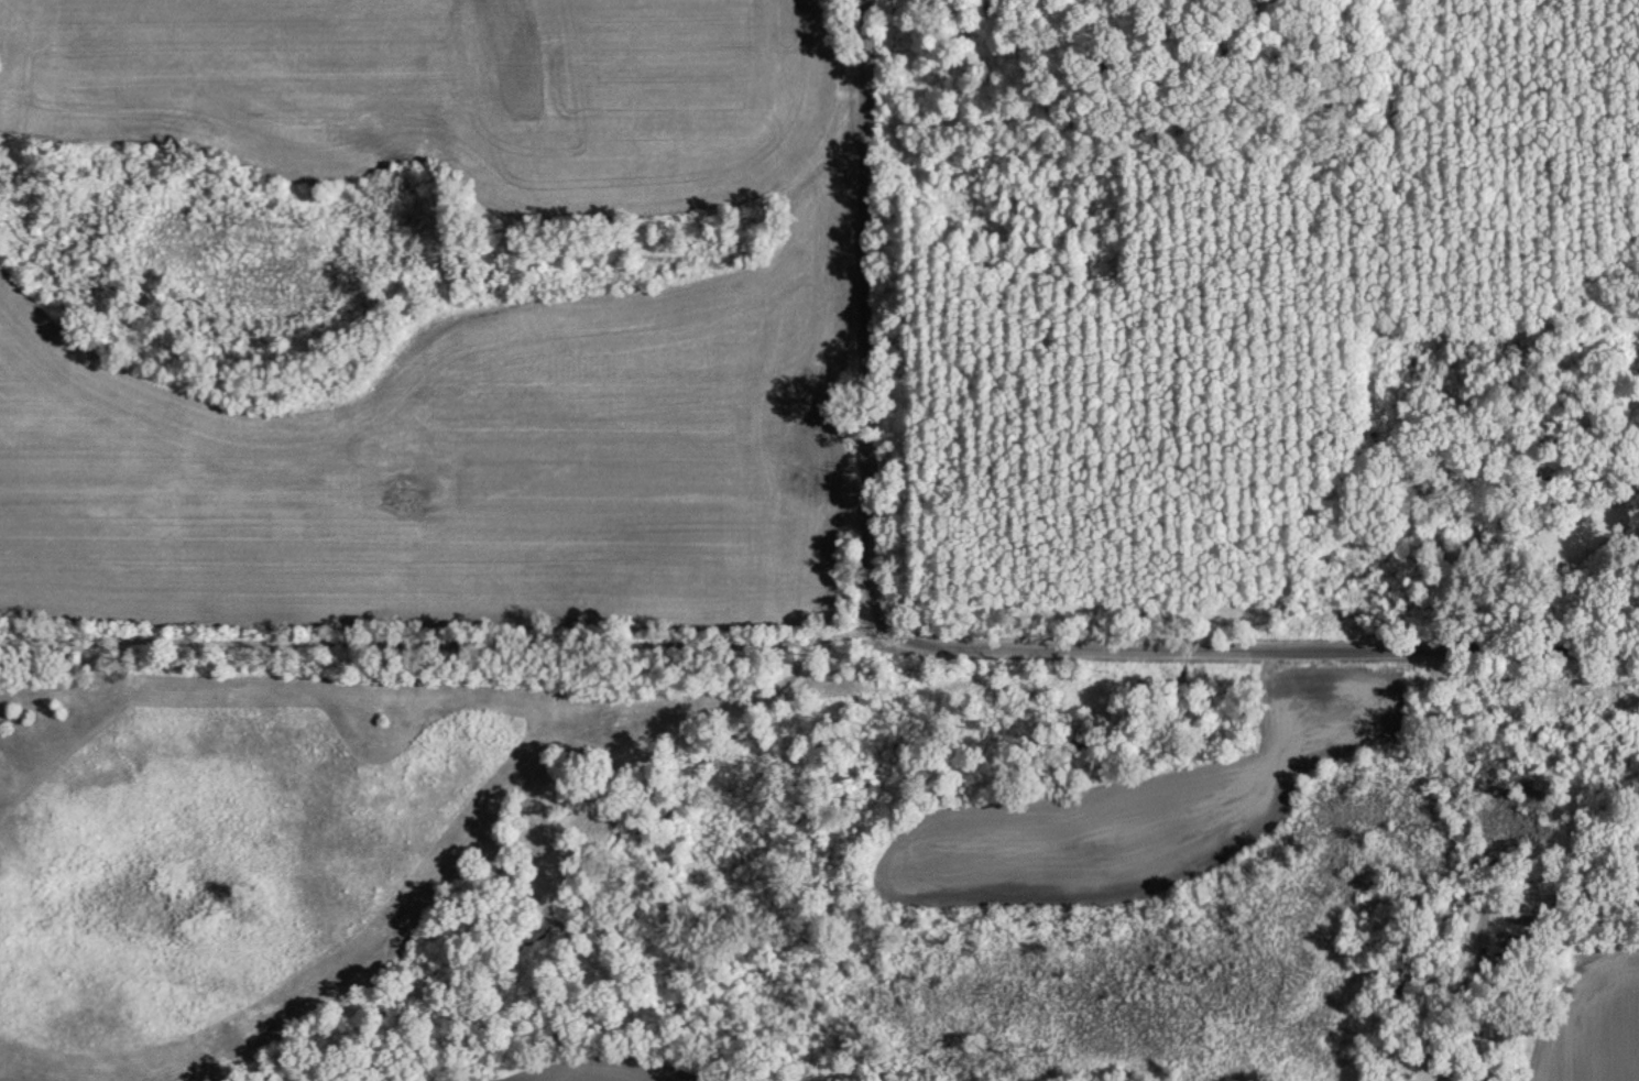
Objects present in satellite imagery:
road: (865, 328)
road: (436, 616)
road: (23, 648)
road: (1275, 649)
building: (1517, 943)
building: (1402, 983)
building: (1487, 1026)

